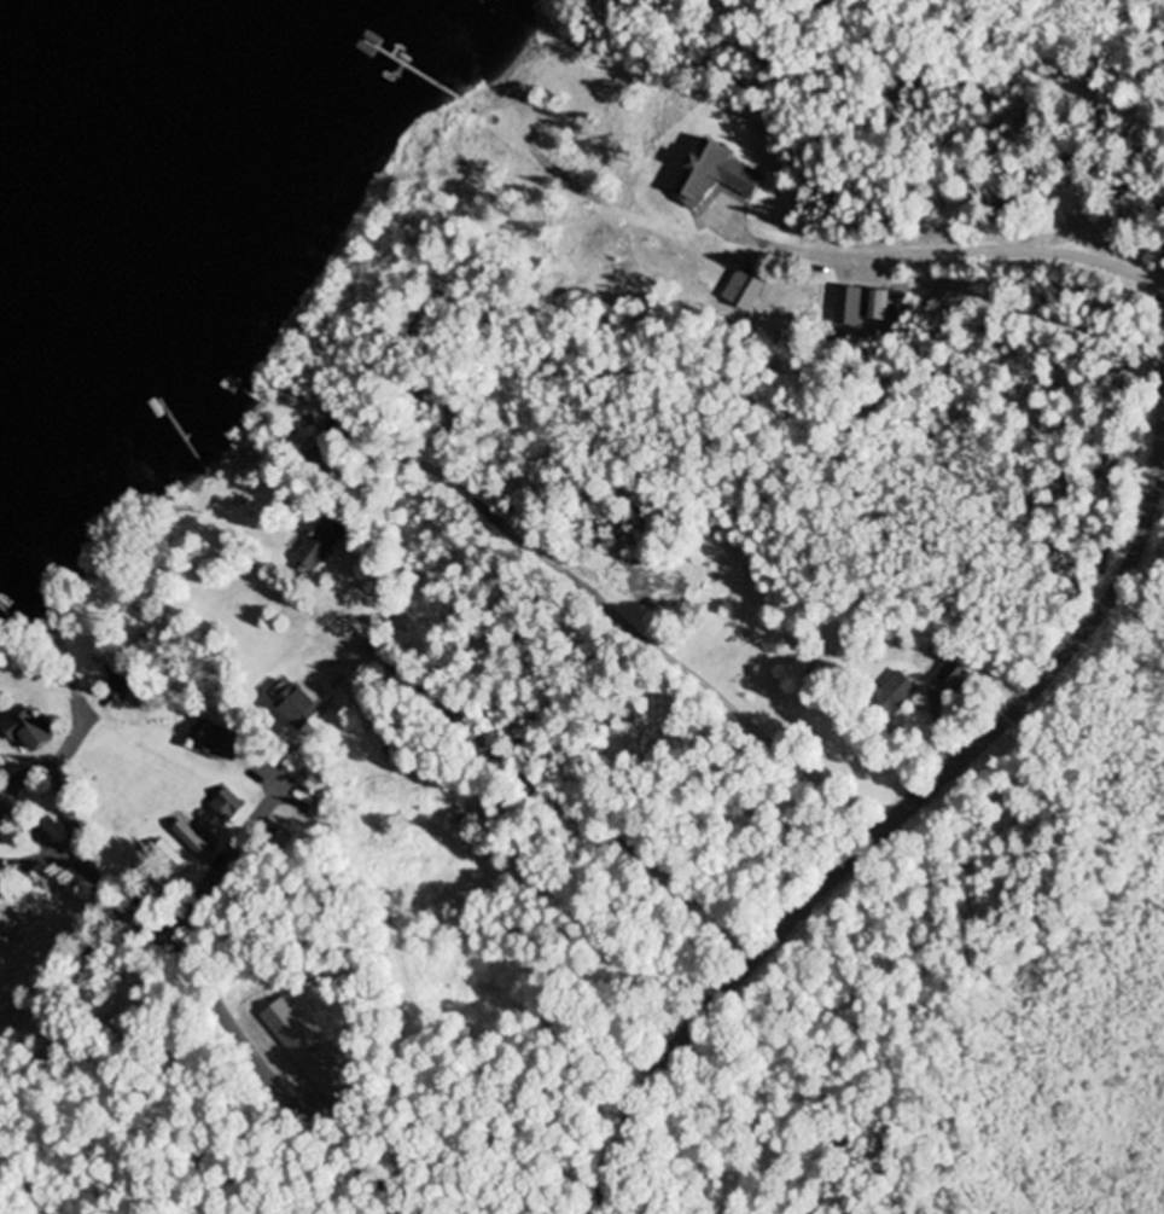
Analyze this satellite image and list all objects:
building: (547, 273)
building: (744, 291)
building: (110, 303)
building: (325, 457)
building: (324, 542)
building: (944, 658)
building: (121, 674)
building: (897, 692)
building: (303, 704)
road: (572, 722)
building: (34, 726)
building: (227, 738)
building: (0, 768)
building: (231, 803)
road: (897, 812)
building: (194, 842)
building: (175, 861)
building: (156, 881)
building: (138, 900)
building: (93, 951)
road: (219, 1017)
building: (133, 1028)
building: (22, 1051)
building: (45, 1057)
building: (4, 1058)
building: (37, 1080)

